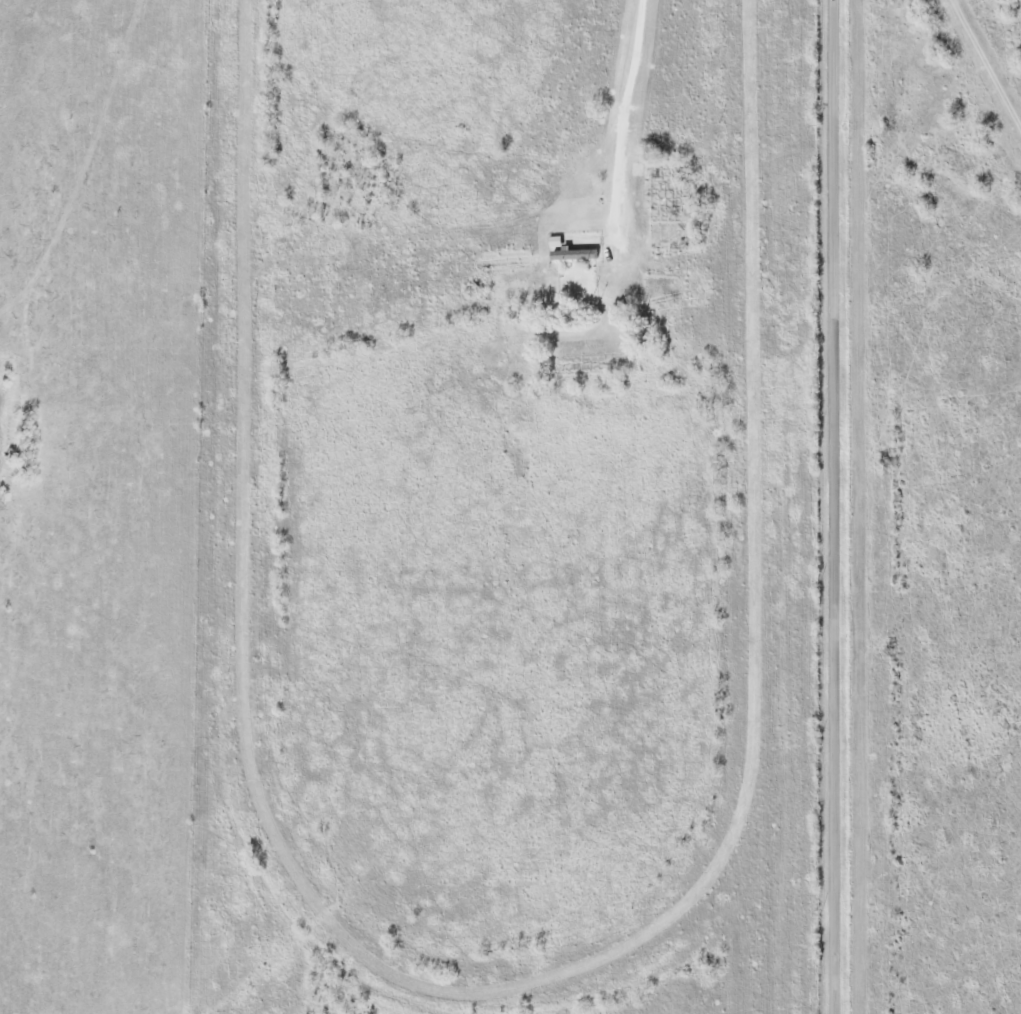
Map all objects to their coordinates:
road: (982, 71)
road: (622, 129)
building: (576, 280)
road: (836, 507)

